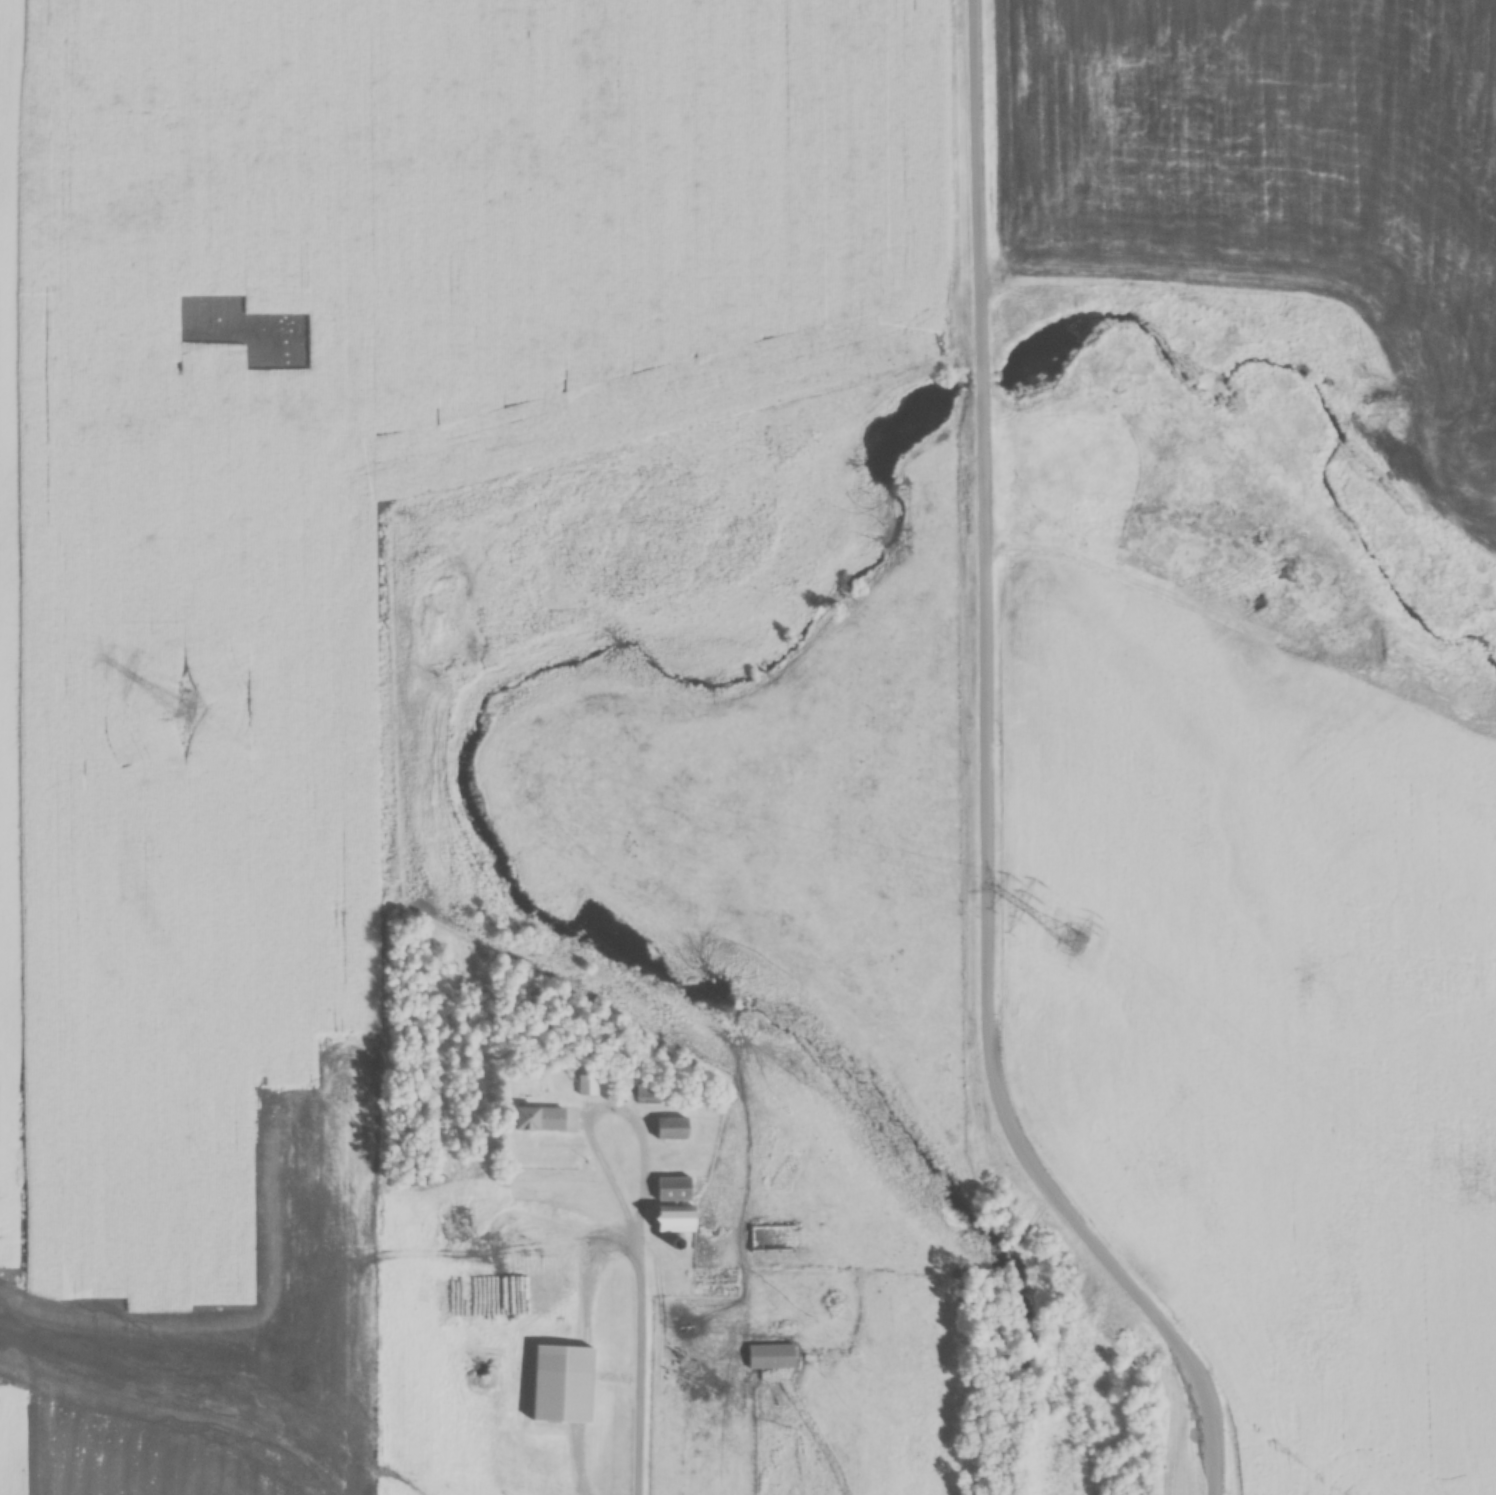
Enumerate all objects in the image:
power tower: (186, 712)
road: (991, 782)
power tower: (1070, 937)
building: (587, 1086)
building: (648, 1095)
building: (544, 1120)
building: (671, 1130)
building: (674, 1190)
building: (715, 1279)
building: (463, 1318)
building: (771, 1358)
building: (562, 1386)

